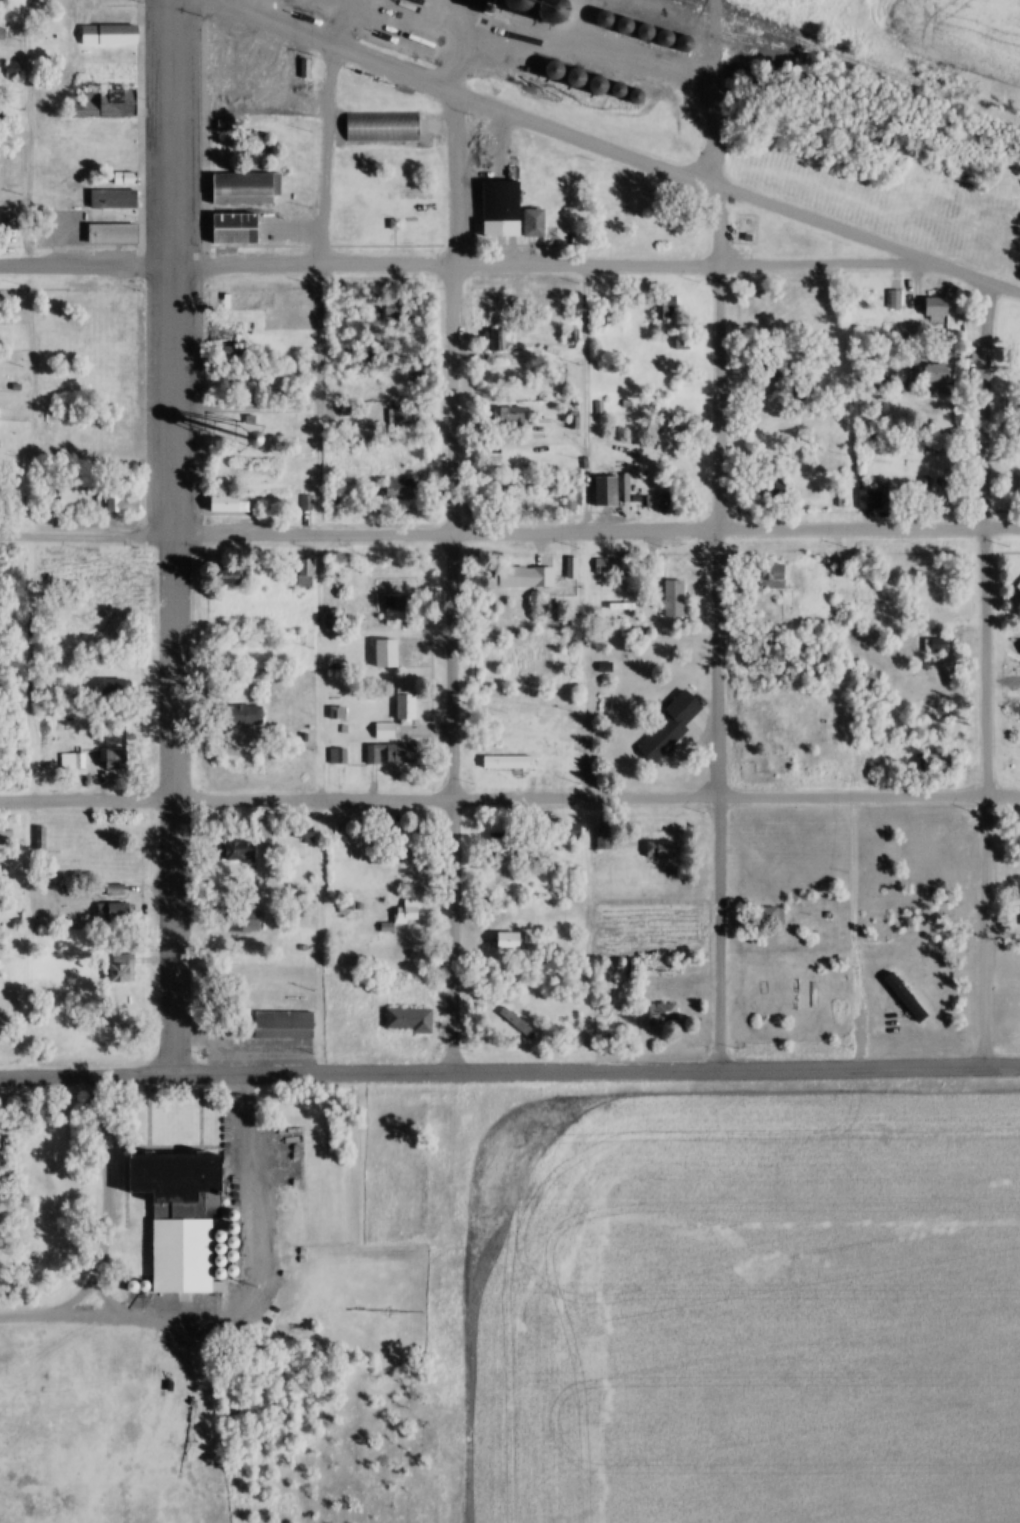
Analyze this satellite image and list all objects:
railway: (764, 27)
crop: (966, 30)
building: (111, 36)
railway: (810, 51)
building: (116, 78)
building: (107, 105)
building: (381, 124)
road: (29, 132)
road: (606, 149)
building: (243, 186)
building: (113, 194)
building: (514, 211)
building: (8, 219)
building: (236, 225)
building: (111, 231)
road: (464, 266)
road: (174, 267)
road: (319, 290)
building: (896, 300)
building: (939, 307)
building: (667, 308)
building: (402, 310)
building: (505, 313)
building: (227, 338)
building: (503, 341)
building: (684, 343)
building: (944, 376)
road: (584, 400)
building: (406, 416)
building: (513, 417)
building: (670, 425)
building: (1018, 482)
building: (524, 488)
building: (402, 489)
building: (609, 492)
building: (67, 498)
building: (866, 500)
building: (334, 501)
building: (571, 502)
building: (126, 504)
building: (229, 504)
road: (510, 533)
road: (719, 534)
building: (606, 566)
building: (840, 567)
building: (304, 573)
building: (235, 576)
building: (777, 576)
building: (529, 578)
road: (455, 585)
building: (1019, 587)
building: (671, 599)
building: (401, 607)
building: (330, 622)
building: (783, 649)
building: (386, 653)
road: (171, 667)
road: (984, 672)
building: (116, 688)
building: (399, 715)
building: (250, 716)
building: (674, 725)
building: (391, 755)
building: (337, 757)
building: (114, 760)
building: (507, 761)
building: (938, 762)
road: (510, 800)
building: (40, 838)
building: (603, 838)
building: (505, 847)
building: (100, 848)
building: (661, 850)
building: (243, 851)
building: (115, 912)
building: (776, 915)
road: (173, 939)
building: (517, 940)
building: (43, 942)
building: (121, 968)
building: (662, 1014)
building: (409, 1020)
building: (283, 1022)
building: (516, 1025)
road: (510, 1076)
road: (98, 1196)
building: (183, 1251)
road: (49, 1313)

